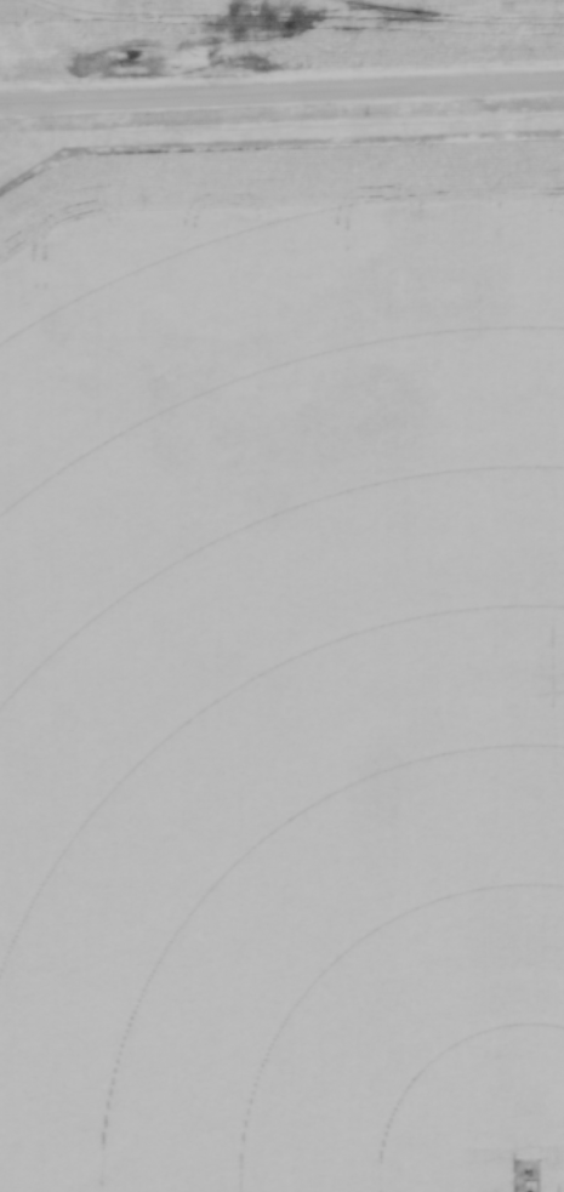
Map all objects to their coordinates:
crop: (268, 32)
road: (281, 93)
crop: (283, 655)

